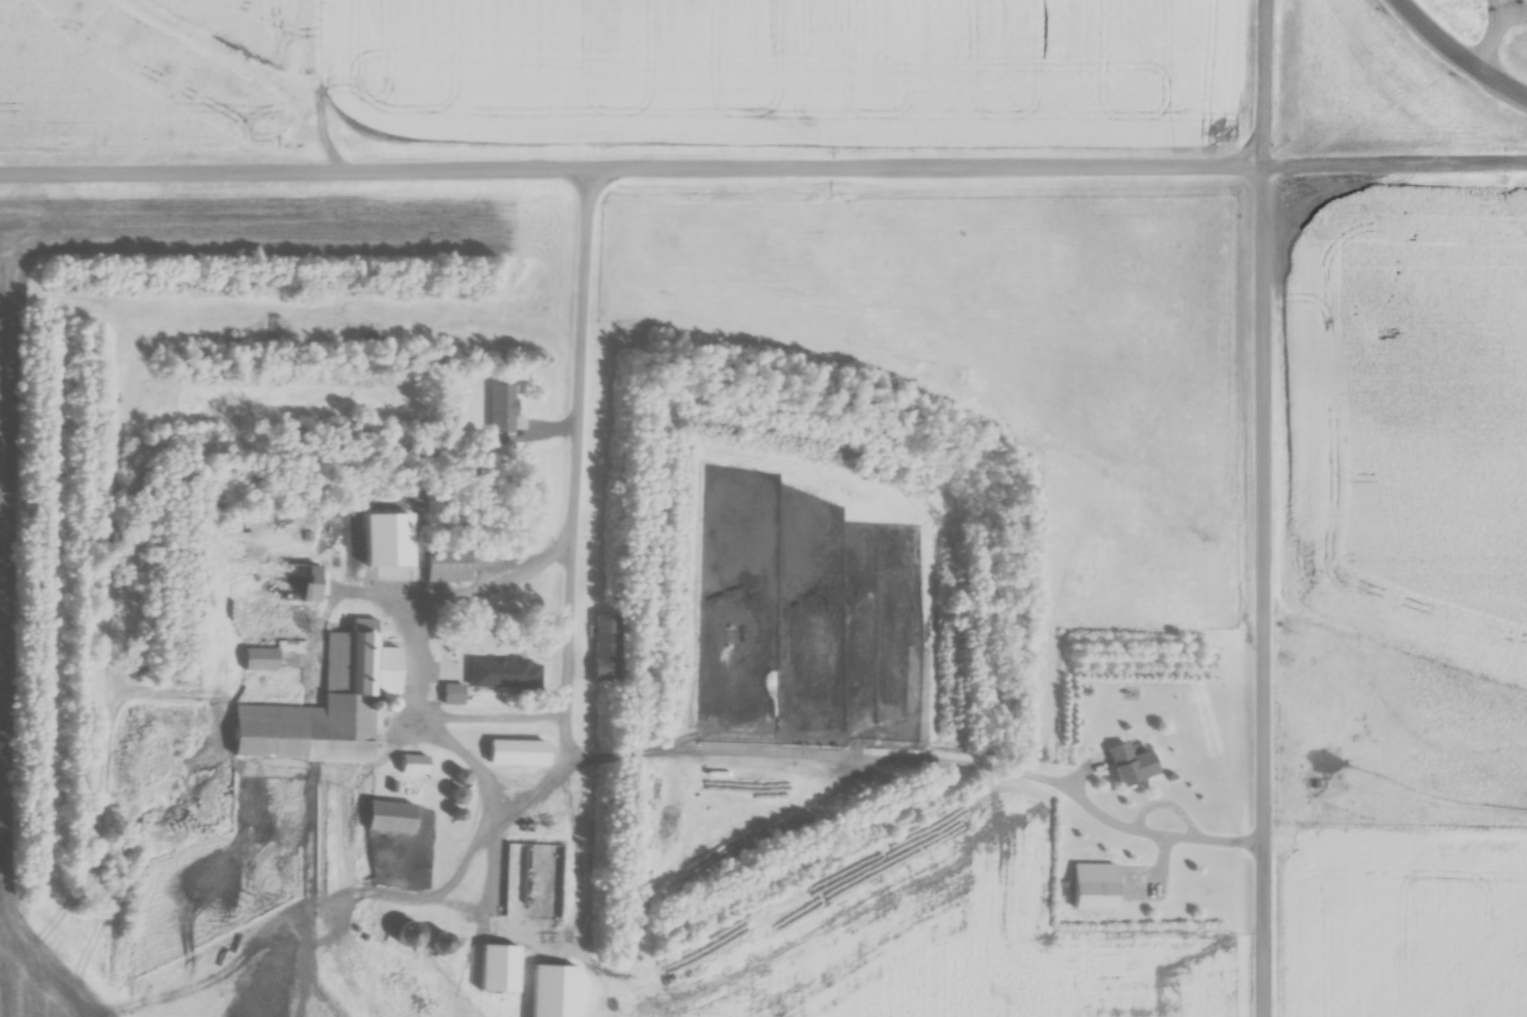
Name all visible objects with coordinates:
road: (1457, 57)
road: (763, 176)
building: (495, 415)
road: (1270, 508)
building: (499, 524)
building: (437, 572)
building: (266, 589)
building: (607, 649)
building: (251, 668)
building: (475, 683)
building: (320, 708)
building: (508, 757)
building: (405, 768)
building: (1121, 774)
building: (380, 824)
building: (534, 875)
building: (1084, 899)
building: (759, 921)
building: (409, 936)
building: (487, 973)
building: (541, 995)

